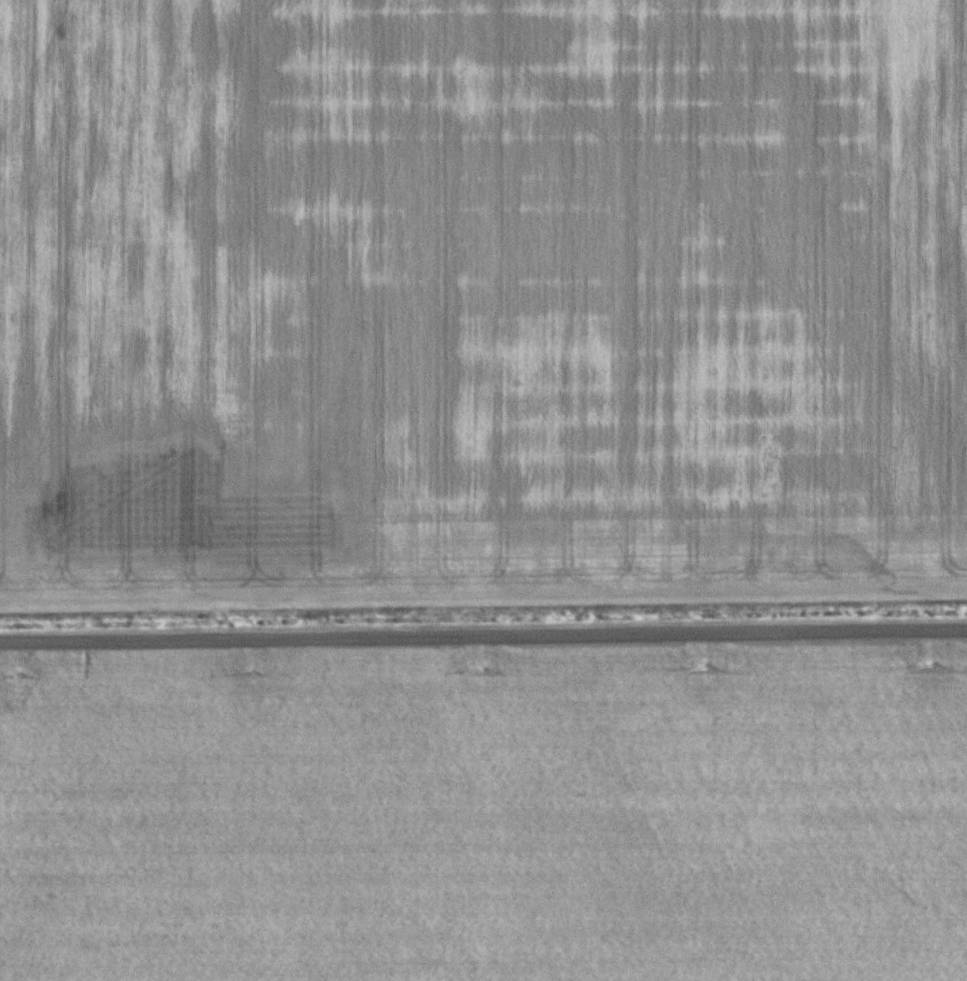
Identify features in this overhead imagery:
road: (483, 635)

